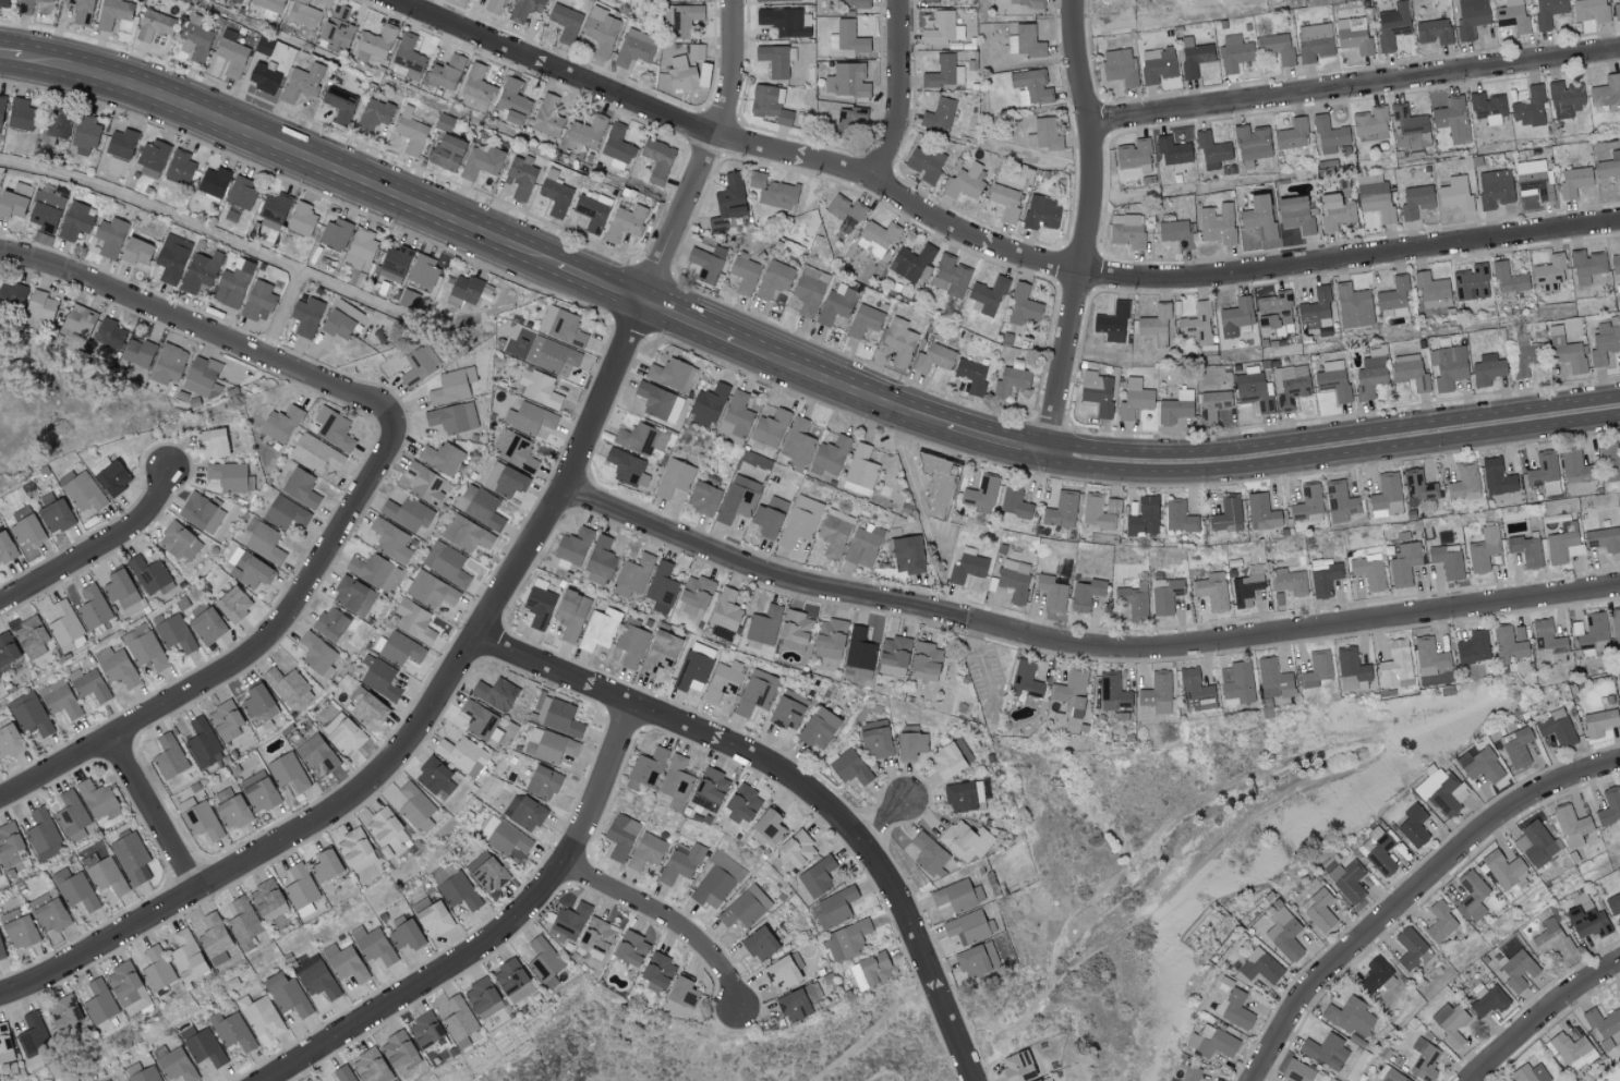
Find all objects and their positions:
building: (46, 0)
building: (239, 0)
building: (775, 0)
building: (3, 2)
building: (1027, 2)
building: (854, 3)
building: (493, 5)
building: (25, 7)
building: (269, 8)
building: (524, 9)
building: (1589, 10)
building: (81, 11)
building: (1617, 11)
building: (1548, 12)
building: (113, 13)
building: (304, 14)
building: (1471, 16)
building: (1512, 16)
building: (685, 19)
building: (565, 21)
building: (783, 22)
building: (154, 25)
building: (1392, 25)
building: (336, 29)
building: (601, 31)
building: (1434, 32)
building: (1354, 35)
building: (196, 36)
building: (847, 37)
building: (1026, 41)
building: (1316, 41)
building: (375, 44)
building: (1277, 47)
building: (697, 51)
building: (231, 52)
building: (1235, 52)
building: (1194, 56)
building: (408, 59)
building: (776, 59)
building: (1157, 64)
building: (1119, 66)
building: (944, 72)
building: (446, 73)
building: (685, 74)
building: (264, 77)
building: (846, 81)
building: (302, 82)
building: (1030, 86)
road: (1355, 86)
building: (476, 89)
road: (900, 93)
building: (1606, 94)
building: (1564, 99)
building: (513, 102)
building: (1, 104)
building: (339, 104)
building: (770, 104)
building: (1528, 107)
building: (1488, 109)
building: (19, 113)
building: (939, 114)
building: (373, 116)
building: (547, 117)
building: (851, 118)
building: (1370, 121)
building: (1409, 121)
building: (1451, 121)
building: (57, 123)
building: (410, 131)
building: (588, 131)
building: (84, 133)
building: (1043, 134)
building: (1292, 135)
building: (1329, 135)
building: (121, 143)
building: (1252, 143)
building: (616, 148)
road: (709, 150)
building: (446, 151)
building: (1173, 151)
building: (1212, 151)
building: (153, 157)
building: (657, 160)
building: (481, 161)
building: (924, 162)
building: (179, 167)
building: (1609, 167)
building: (1528, 174)
building: (521, 177)
building: (757, 180)
building: (966, 181)
building: (1574, 181)
building: (213, 182)
building: (1495, 189)
building: (241, 192)
building: (555, 193)
building: (1456, 194)
building: (778, 195)
building: (1375, 196)
building: (14, 201)
building: (1415, 201)
building: (1005, 202)
building: (729, 205)
building: (46, 210)
building: (273, 210)
building: (1040, 211)
building: (845, 212)
building: (1335, 212)
building: (1259, 215)
building: (1295, 215)
building: (231, 216)
building: (300, 219)
building: (76, 221)
building: (625, 222)
building: (1218, 223)
road: (1090, 226)
road: (206, 229)
building: (1127, 230)
building: (1175, 231)
building: (335, 234)
building: (110, 236)
building: (879, 238)
road: (982, 242)
building: (360, 250)
building: (136, 252)
building: (172, 258)
building: (912, 263)
building: (394, 264)
building: (1616, 264)
building: (704, 265)
building: (1586, 266)
building: (200, 271)
building: (423, 271)
building: (1549, 272)
building: (743, 275)
building: (950, 276)
building: (774, 279)
building: (1471, 282)
building: (1509, 282)
building: (232, 283)
building: (464, 288)
building: (809, 290)
building: (1431, 290)
building: (11, 295)
building: (987, 295)
building: (1393, 296)
building: (409, 299)
building: (258, 301)
building: (39, 305)
building: (835, 305)
building: (1023, 305)
building: (1353, 306)
building: (1316, 311)
road: (281, 313)
building: (1276, 313)
building: (305, 317)
building: (1235, 317)
building: (78, 319)
building: (340, 319)
building: (863, 320)
building: (1112, 323)
building: (1197, 324)
building: (1156, 325)
building: (561, 326)
building: (108, 333)
road: (220, 336)
building: (898, 341)
building: (1605, 343)
building: (1565, 351)
building: (137, 352)
road: (793, 352)
building: (1523, 355)
building: (933, 359)
building: (168, 364)
building: (420, 365)
building: (1448, 366)
building: (1487, 369)
building: (1411, 372)
building: (200, 375)
building: (672, 375)
building: (971, 375)
building: (1370, 376)
building: (1012, 379)
building: (1333, 380)
building: (452, 386)
building: (1291, 386)
building: (540, 388)
building: (1253, 391)
building: (1097, 392)
building: (1135, 399)
building: (660, 402)
building: (1214, 404)
building: (708, 405)
building: (1175, 408)
building: (452, 417)
building: (530, 417)
building: (736, 417)
building: (280, 424)
building: (770, 428)
building: (641, 438)
building: (799, 442)
building: (211, 444)
building: (517, 451)
building: (315, 454)
building: (831, 454)
building: (442, 458)
building: (627, 467)
building: (1575, 467)
building: (860, 471)
building: (1611, 471)
building: (1544, 473)
building: (228, 475)
building: (111, 476)
building: (1497, 477)
building: (674, 478)
building: (505, 479)
road: (914, 479)
building: (1464, 482)
building: (425, 484)
building: (934, 486)
building: (301, 487)
building: (1418, 488)
building: (84, 491)
building: (981, 494)
building: (1387, 496)
building: (703, 498)
building: (738, 499)
building: (1340, 501)
building: (1014, 502)
building: (1307, 505)
building: (484, 509)
building: (1061, 511)
building: (201, 512)
building: (286, 512)
building: (1101, 512)
building: (1262, 512)
building: (53, 513)
building: (407, 513)
building: (1226, 514)
building: (1180, 517)
building: (769, 518)
building: (1144, 518)
building: (800, 521)
building: (25, 526)
building: (835, 532)
building: (466, 534)
building: (1402, 537)
building: (1603, 537)
building: (391, 540)
building: (178, 542)
building: (265, 543)
building: (1563, 544)
road: (97, 545)
building: (573, 546)
building: (863, 546)
building: (5, 547)
building: (1484, 549)
building: (1526, 550)
building: (907, 555)
building: (600, 561)
building: (1447, 561)
building: (447, 563)
building: (1404, 563)
building: (967, 567)
building: (250, 569)
building: (374, 571)
building: (1368, 571)
building: (150, 575)
building: (632, 576)
building: (1325, 576)
building: (1014, 580)
building: (1289, 580)
building: (1247, 586)
building: (662, 587)
building: (119, 588)
building: (432, 591)
building: (1212, 591)
building: (1051, 593)
building: (1086, 594)
building: (1165, 595)
building: (353, 596)
building: (694, 596)
building: (539, 598)
building: (1134, 599)
building: (233, 604)
building: (93, 606)
building: (726, 610)
building: (570, 615)
building: (414, 621)
building: (61, 622)
building: (205, 622)
building: (330, 623)
building: (764, 624)
building: (1616, 624)
building: (600, 630)
building: (794, 630)
building: (176, 633)
building: (1594, 635)
building: (31, 636)
building: (829, 637)
building: (1547, 637)
road: (1087, 642)
building: (631, 643)
building: (1509, 645)
building: (144, 647)
building: (7, 648)
building: (400, 648)
building: (1473, 648)
building: (660, 652)
building: (859, 652)
building: (317, 654)
building: (893, 655)
building: (1431, 655)
building: (926, 657)
road: (984, 664)
building: (1395, 665)
building: (117, 666)
building: (696, 667)
building: (1317, 669)
building: (1351, 670)
road: (243, 673)
building: (380, 679)
building: (1026, 679)
building: (1273, 679)
building: (723, 681)
building: (88, 682)
building: (1237, 683)
building: (289, 687)
building: (1198, 688)
building: (1113, 691)
building: (495, 692)
building: (757, 692)
building: (1157, 693)
building: (1072, 696)
building: (60, 699)
building: (258, 703)
building: (367, 706)
building: (787, 709)
building: (31, 714)
building: (558, 715)
building: (482, 721)
building: (1598, 722)
building: (229, 724)
building: (1557, 727)
building: (818, 728)
road: (413, 729)
building: (343, 733)
building: (877, 739)
building: (9, 740)
building: (204, 742)
building: (910, 742)
building: (549, 745)
building: (1516, 746)
building: (315, 752)
building: (462, 754)
building: (169, 755)
building: (950, 758)
road: (1319, 758)
building: (648, 766)
building: (1483, 766)
building: (850, 767)
building: (288, 772)
building: (435, 778)
building: (674, 780)
building: (542, 781)
building: (709, 789)
road: (794, 789)
building: (258, 791)
building: (1442, 791)
building: (964, 795)
building: (97, 798)
building: (741, 802)
building: (414, 804)
building: (1610, 805)
building: (524, 812)
building: (232, 813)
building: (72, 815)
road: (159, 819)
building: (202, 819)
road: (885, 823)
building: (1414, 825)
building: (383, 826)
building: (1571, 826)
building: (767, 827)
building: (43, 835)
building: (504, 836)
building: (620, 836)
building: (965, 840)
building: (1536, 843)
building: (10, 846)
building: (798, 849)
building: (355, 850)
building: (1378, 850)
building: (645, 851)
building: (928, 852)
building: (132, 858)
building: (681, 862)
building: (325, 864)
building: (1504, 870)
building: (487, 871)
building: (107, 875)
building: (818, 876)
building: (716, 879)
building: (1350, 882)
building: (300, 886)
building: (75, 889)
building: (459, 891)
building: (957, 895)
building: (265, 896)
road: (1415, 896)
building: (1472, 896)
building: (1613, 903)
building: (745, 907)
building: (834, 908)
building: (305, 909)
building: (1318, 910)
building: (49, 913)
building: (432, 915)
building: (568, 920)
building: (1588, 921)
building: (243, 922)
building: (1440, 922)
road: (660, 923)
building: (966, 927)
building: (19, 928)
building: (403, 934)
building: (1284, 934)
road: (494, 935)
building: (595, 936)
building: (1551, 937)
building: (215, 938)
building: (847, 938)
building: (760, 943)
building: (372, 944)
building: (630, 947)
building: (1412, 949)
building: (1, 951)
building: (188, 957)
building: (543, 959)
building: (977, 959)
building: (344, 962)
building: (1258, 967)
building: (158, 968)
building: (657, 970)
building: (871, 970)
building: (1519, 970)
building: (781, 972)
building: (1377, 975)
building: (317, 976)
building: (511, 981)
building: (129, 988)
building: (682, 991)
building: (286, 994)
building: (480, 994)
building: (100, 1000)
building: (1488, 1000)
building: (797, 1001)
building: (1236, 1009)
building: (64, 1011)
building: (261, 1015)
building: (1350, 1016)
road: (1544, 1017)
building: (458, 1018)
building: (1452, 1025)
building: (1603, 1025)
building: (424, 1029)
building: (232, 1030)
road: (874, 1030)
building: (4, 1039)
building: (34, 1040)
building: (1212, 1042)
building: (203, 1045)
building: (396, 1047)
building: (1325, 1050)
building: (1573, 1050)
building: (1424, 1059)
building: (177, 1065)
building: (1017, 1066)
building: (371, 1067)
building: (1297, 1070)
building: (142, 1072)
building: (342, 1073)
building: (1189, 1073)
building: (1530, 1073)
building: (1207, 1076)
building: (1393, 1076)
building: (1044, 1079)
building: (107, 1080)
building: (1619, 1080)

